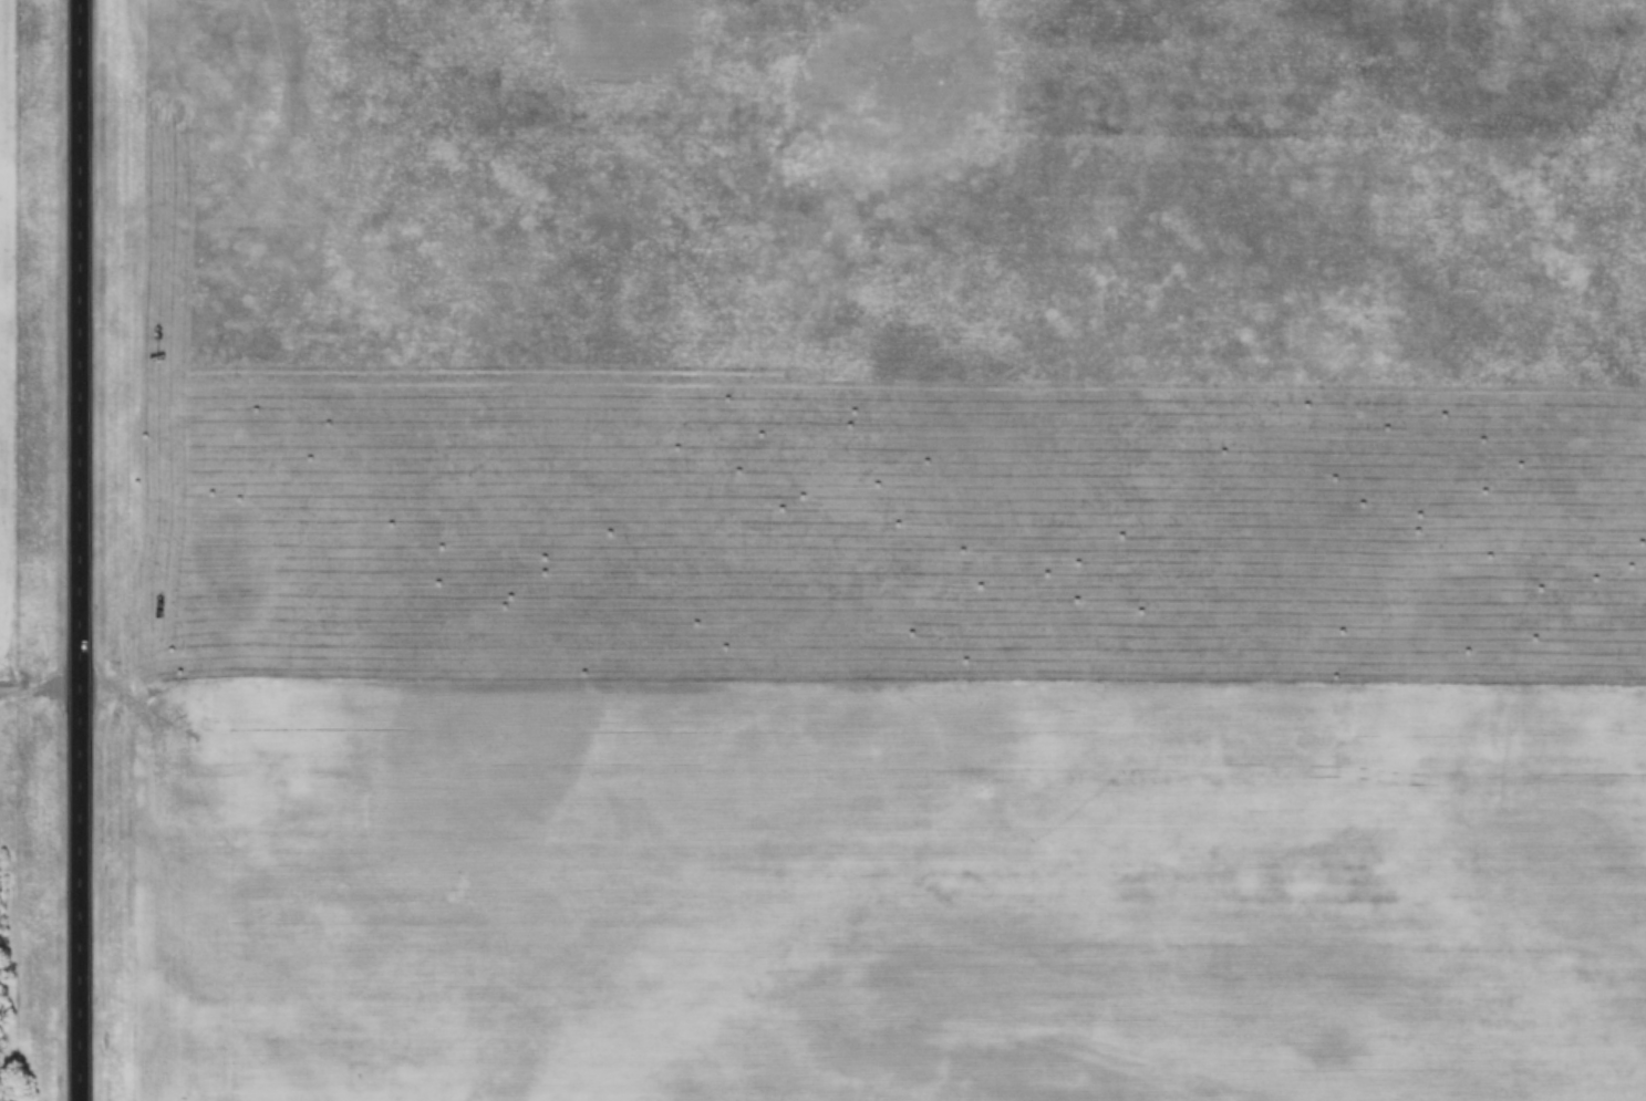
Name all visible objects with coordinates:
road: (77, 550)

